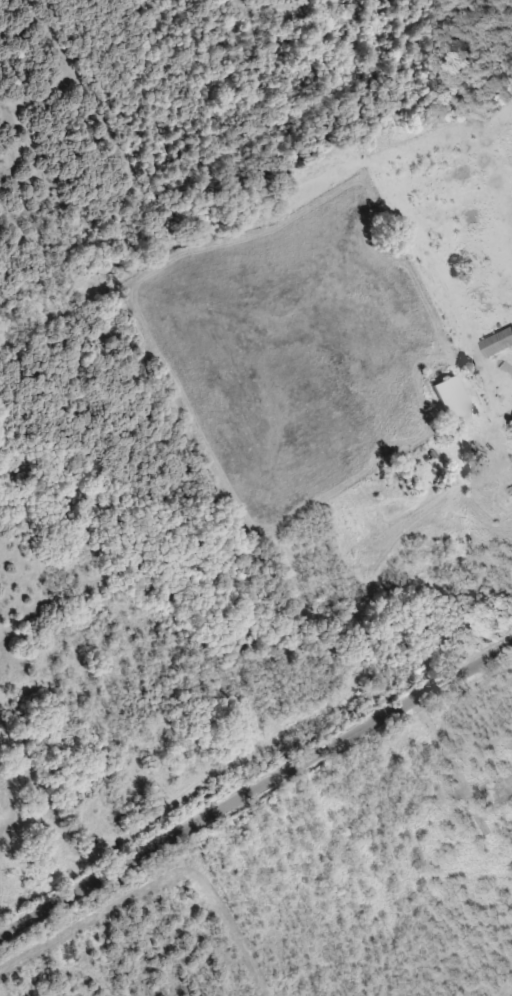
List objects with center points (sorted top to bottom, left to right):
building: (498, 343)
building: (451, 395)
road: (139, 595)
building: (511, 783)
road: (255, 786)

